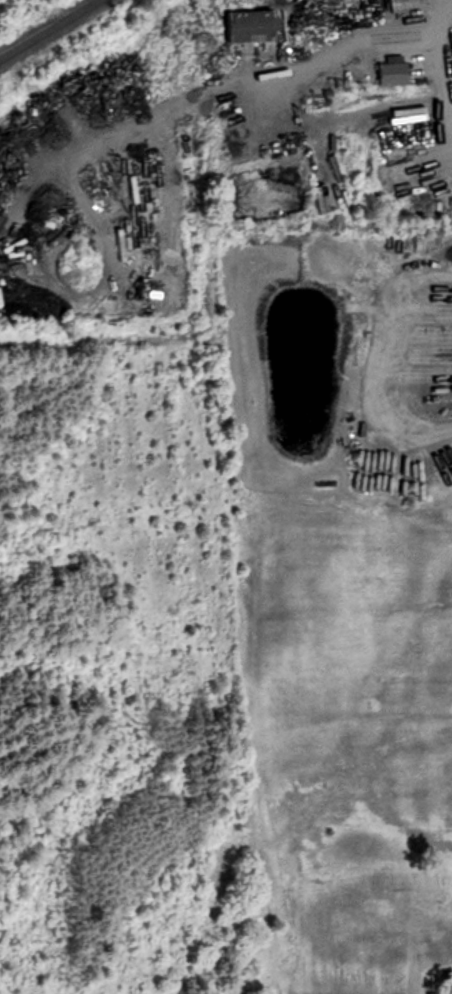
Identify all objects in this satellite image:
building: (240, 26)
railway: (52, 31)
road: (412, 39)
building: (386, 74)

